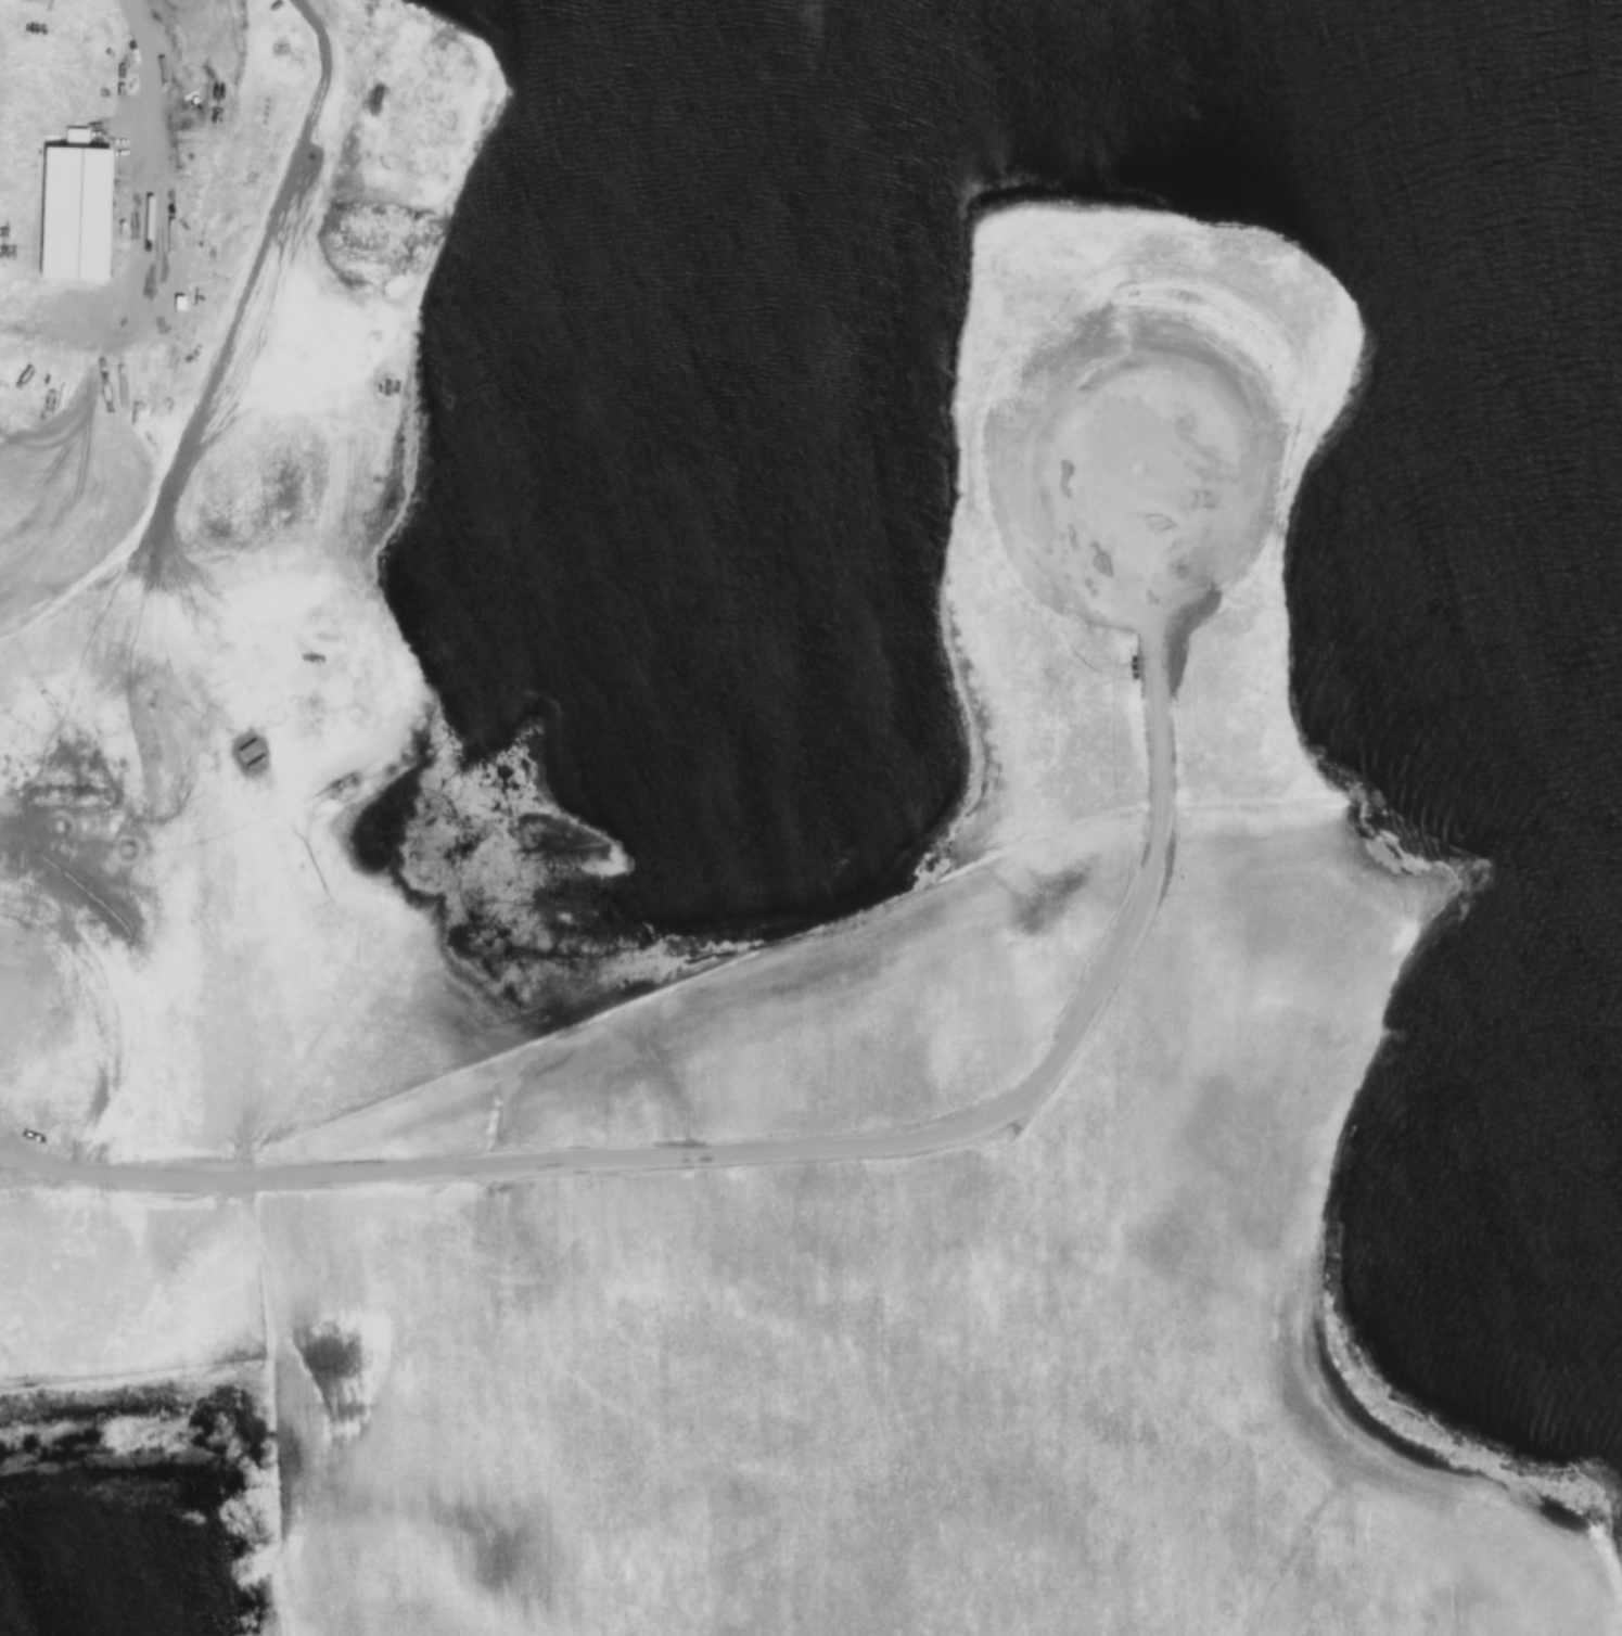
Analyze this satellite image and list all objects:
wind turbine: (1141, 471)

